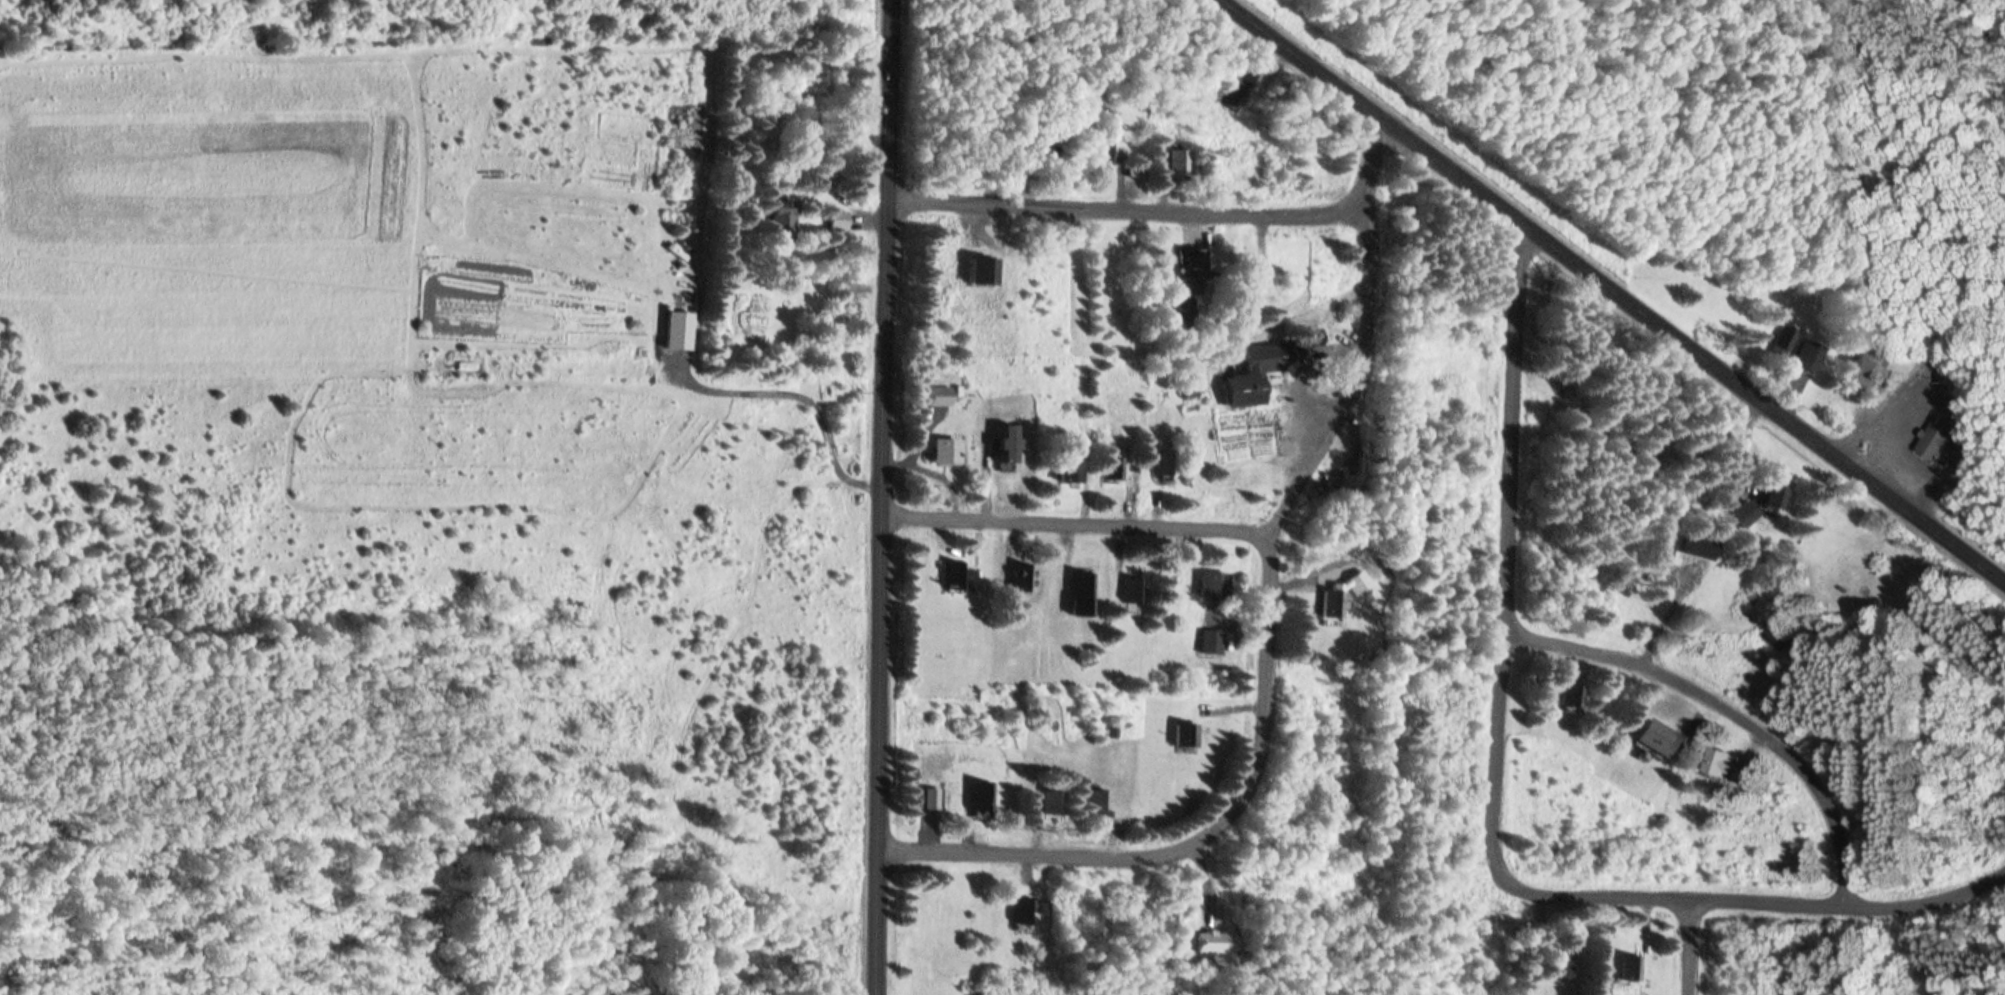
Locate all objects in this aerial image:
building: (1253, 78)
park: (1672, 91)
building: (1235, 98)
building: (1109, 152)
road: (1132, 210)
building: (783, 218)
building: (839, 220)
building: (1195, 269)
building: (980, 272)
road: (1614, 291)
building: (1181, 311)
building: (1783, 341)
building: (1808, 357)
building: (1860, 373)
building: (1252, 376)
building: (1943, 443)
building: (1008, 446)
building: (945, 452)
building: (1070, 471)
building: (1113, 471)
road: (887, 497)
building: (1770, 499)
building: (1744, 515)
road: (1080, 527)
building: (1697, 546)
building: (1655, 559)
building: (960, 578)
building: (1028, 580)
building: (1214, 587)
building: (1083, 589)
building: (1138, 592)
building: (1334, 606)
road: (1271, 642)
building: (1571, 697)
road: (1729, 715)
building: (1188, 737)
building: (1654, 738)
building: (1716, 764)
building: (983, 796)
building: (1104, 803)
building: (1055, 805)
road: (1500, 808)
building: (1027, 911)
building: (1211, 942)
road: (1691, 948)
building: (1560, 965)
building: (1631, 970)

